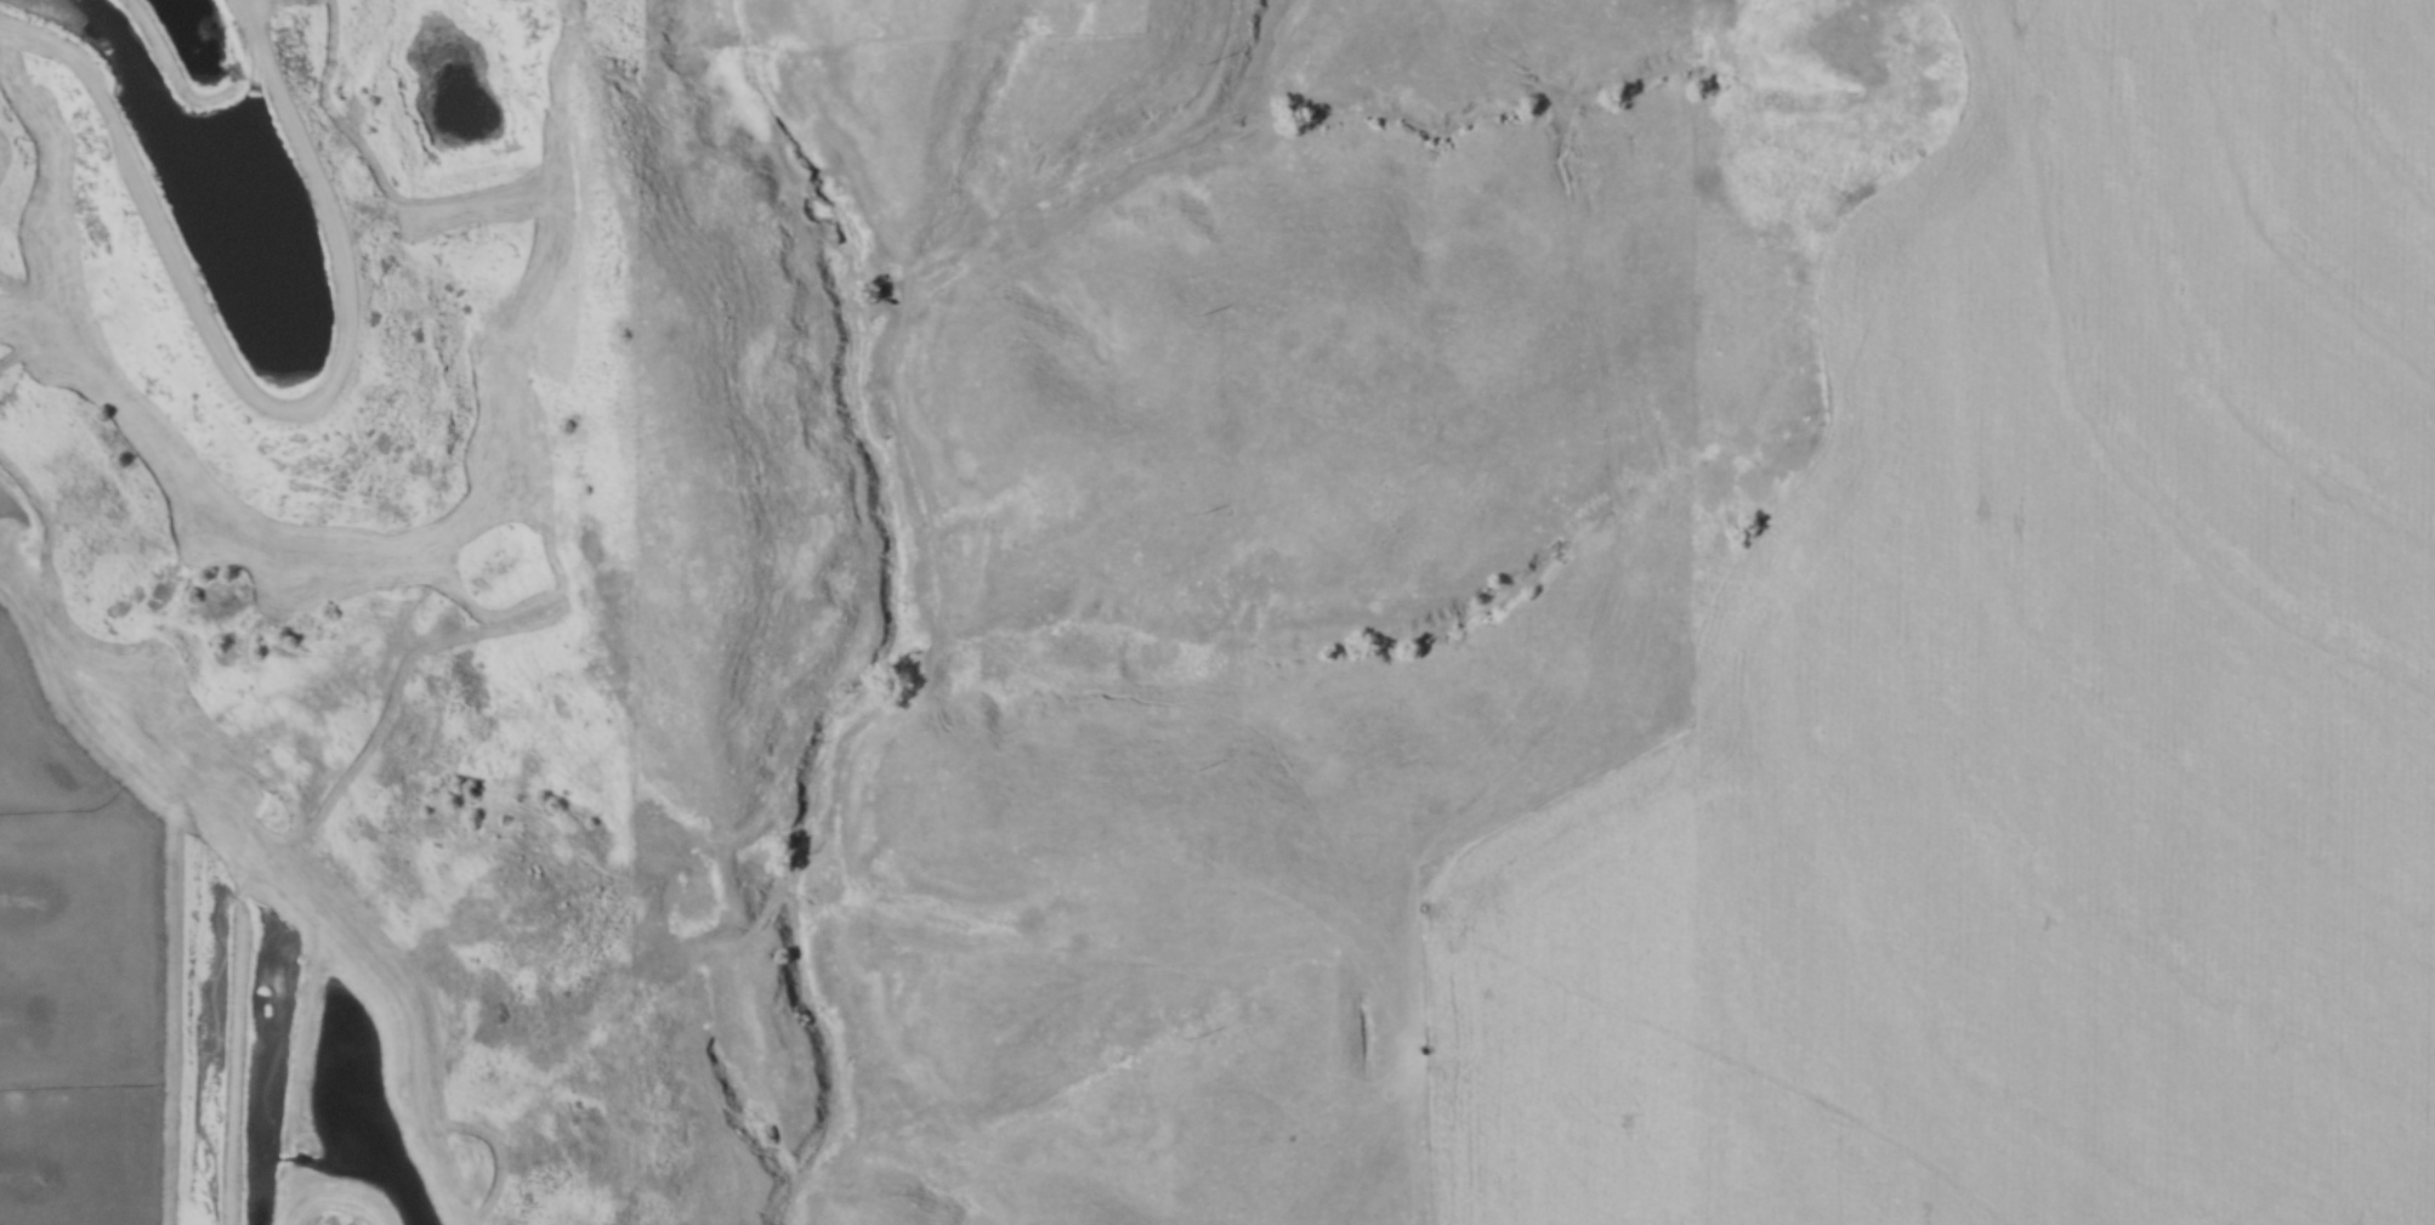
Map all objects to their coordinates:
crop: (2031, 699)

